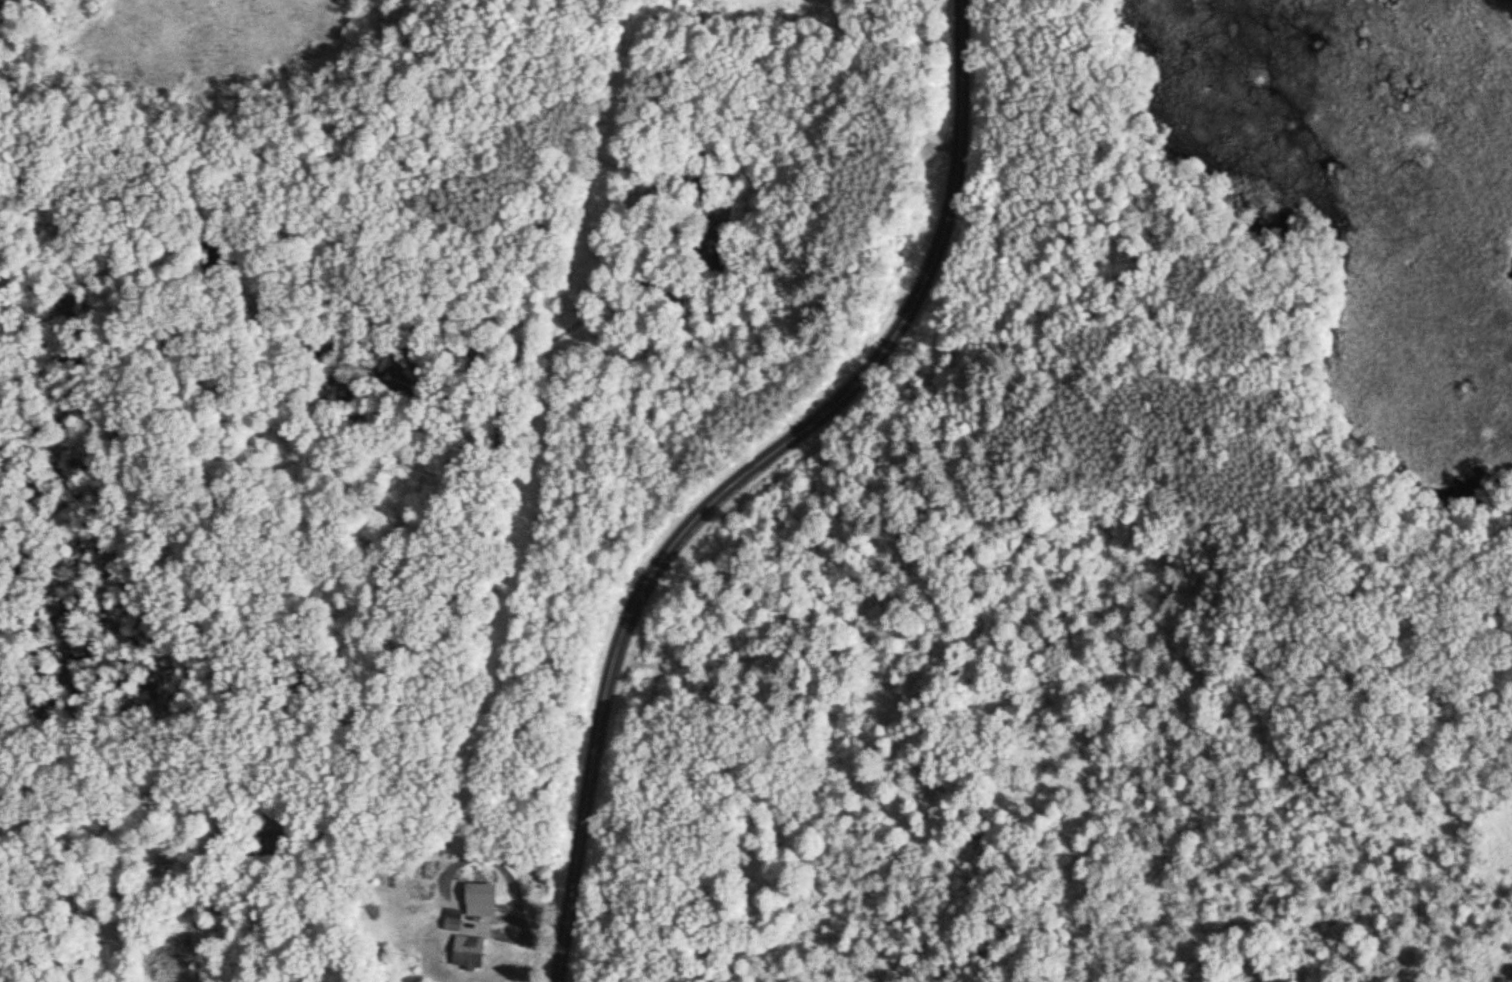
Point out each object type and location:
road: (943, 148)
parking lot: (922, 149)
road: (754, 481)
building: (453, 922)
building: (468, 955)

